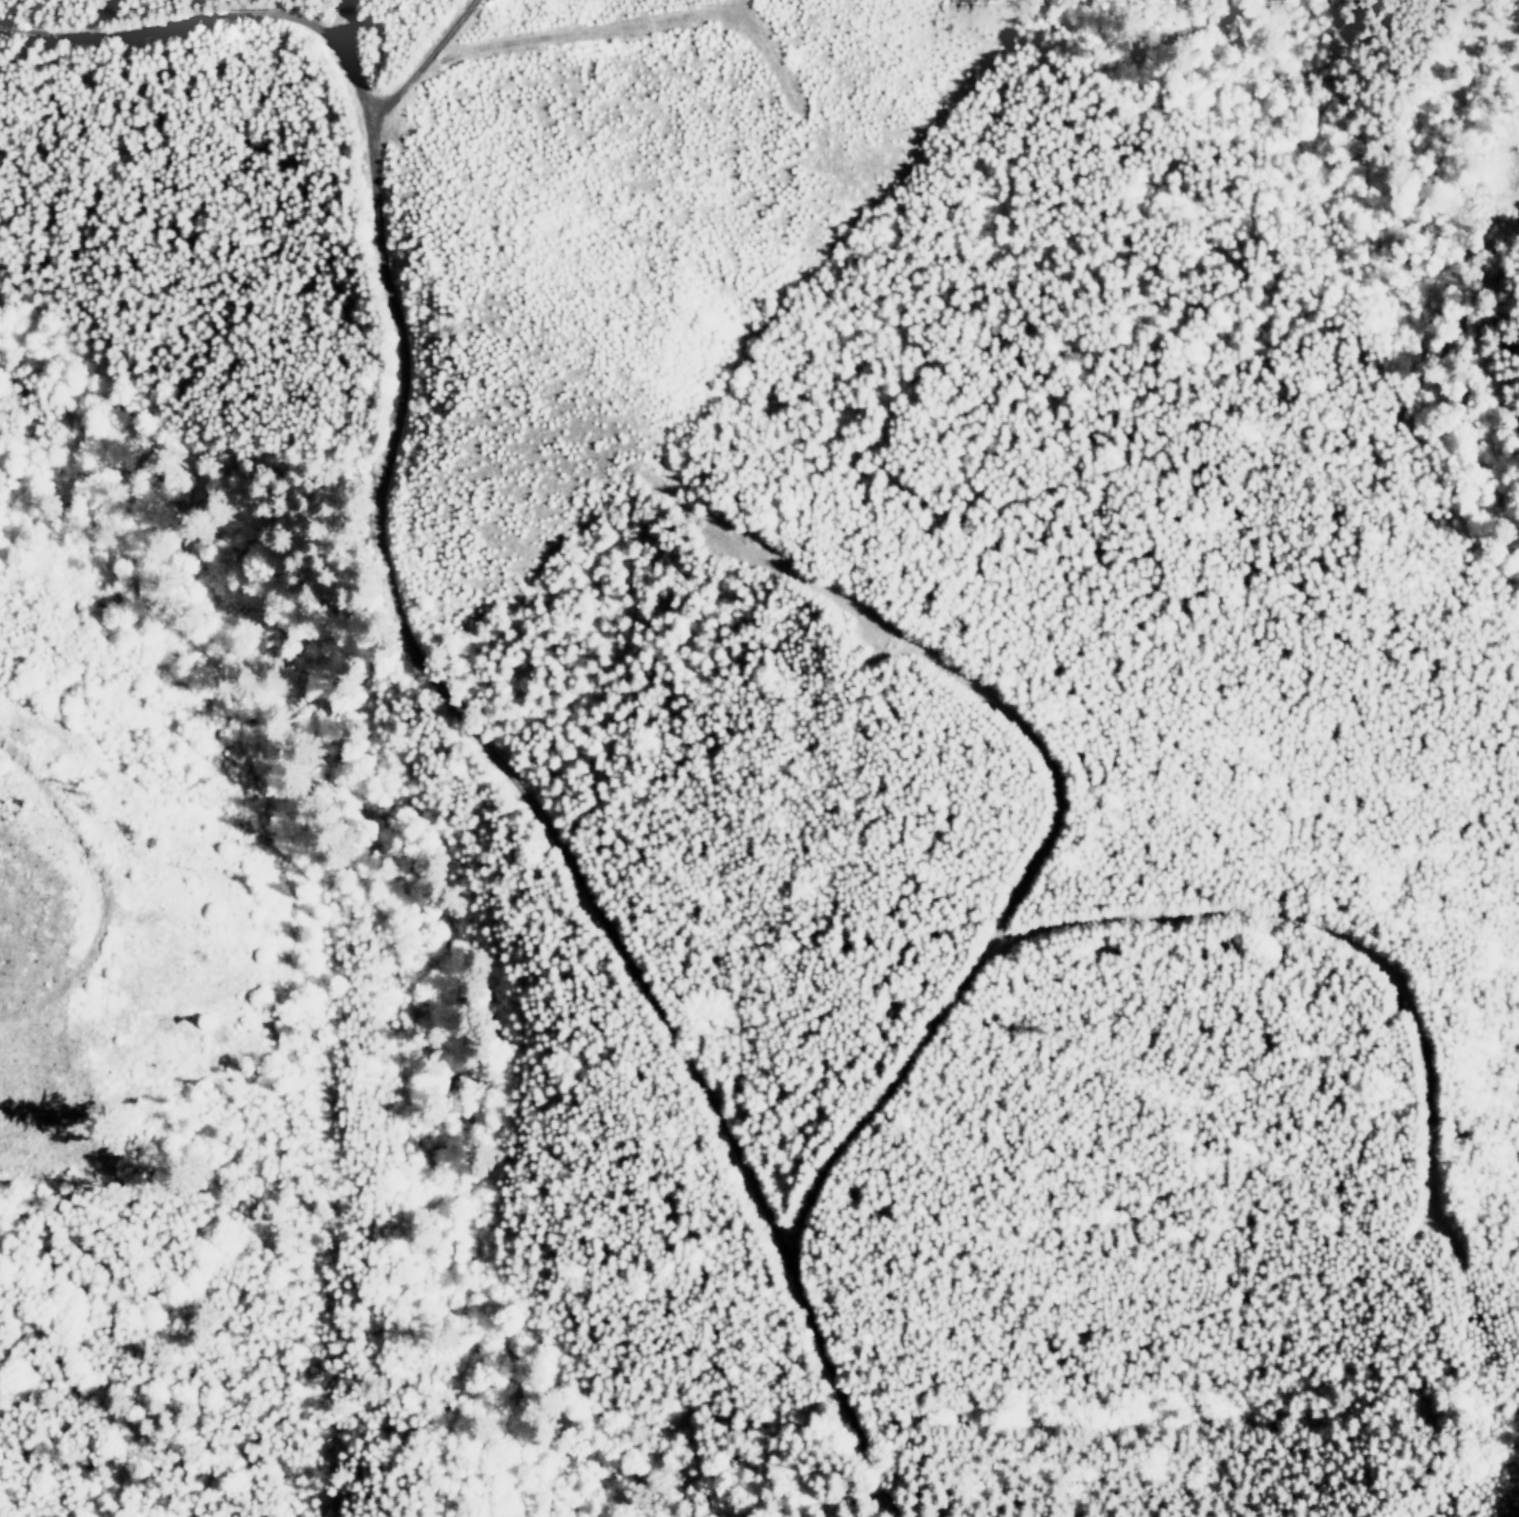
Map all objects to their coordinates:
road: (523, 782)

